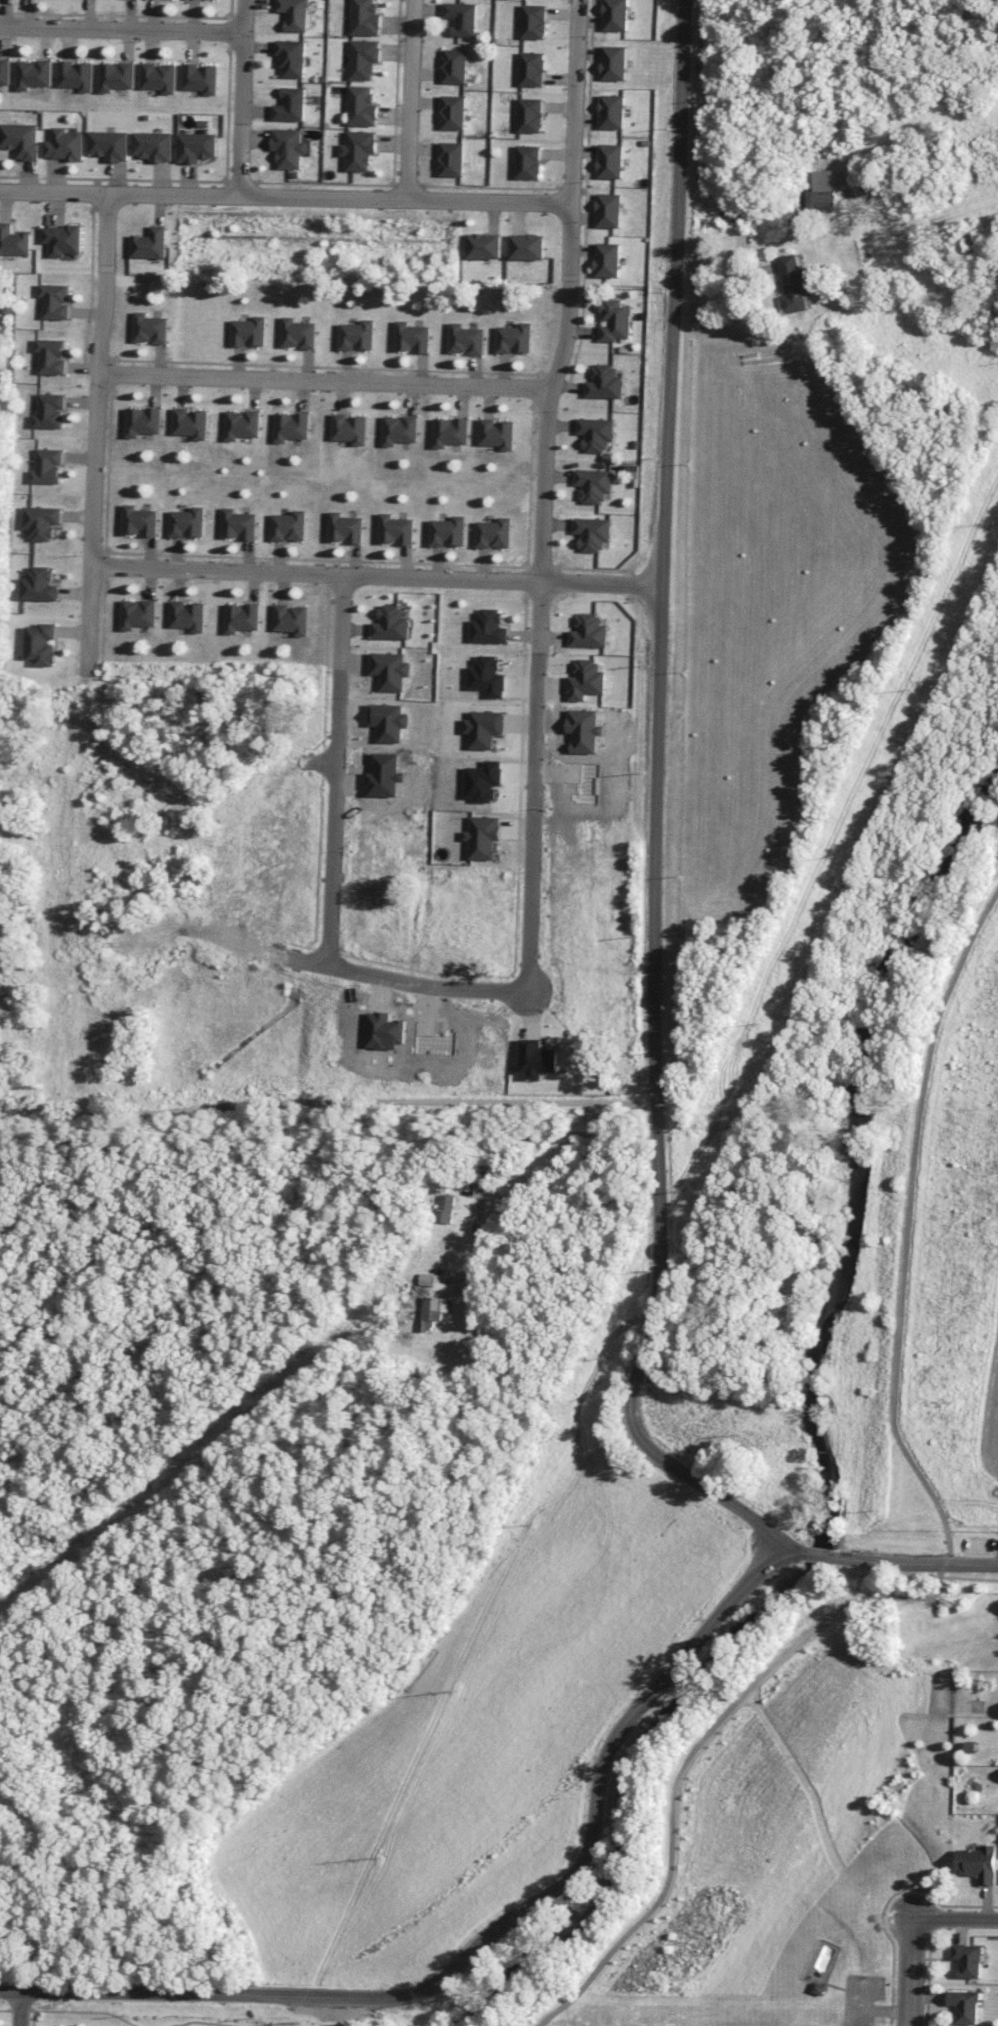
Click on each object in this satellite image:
building: (296, 14)
building: (616, 15)
building: (463, 17)
building: (365, 18)
building: (534, 21)
road: (122, 29)
building: (292, 57)
building: (364, 58)
building: (614, 62)
building: (455, 65)
building: (532, 68)
building: (5, 71)
building: (34, 73)
building: (76, 75)
building: (117, 75)
building: (159, 76)
building: (201, 77)
road: (243, 97)
road: (413, 99)
building: (291, 104)
building: (362, 106)
building: (613, 111)
building: (453, 112)
building: (531, 115)
building: (20, 139)
building: (64, 144)
building: (109, 144)
building: (153, 145)
building: (196, 146)
building: (290, 147)
building: (359, 149)
building: (451, 159)
building: (611, 160)
building: (529, 161)
building: (817, 192)
road: (286, 196)
building: (609, 210)
building: (732, 212)
building: (62, 239)
building: (13, 240)
building: (150, 243)
building: (484, 245)
building: (528, 246)
building: (608, 259)
building: (793, 283)
road: (723, 284)
building: (55, 300)
building: (615, 320)
building: (149, 328)
building: (248, 331)
building: (297, 333)
building: (357, 335)
building: (411, 337)
building: (514, 338)
building: (466, 339)
building: (51, 355)
road: (321, 382)
building: (605, 382)
building: (49, 410)
building: (143, 420)
building: (190, 422)
building: (241, 424)
building: (290, 426)
building: (349, 428)
building: (399, 429)
building: (450, 431)
building: (497, 433)
building: (596, 433)
building: (47, 466)
building: (594, 484)
road: (543, 491)
building: (139, 520)
building: (41, 521)
building: (187, 522)
building: (238, 524)
building: (288, 526)
building: (345, 527)
building: (395, 529)
building: (448, 531)
building: (494, 532)
building: (592, 532)
road: (376, 574)
building: (39, 584)
road: (90, 609)
building: (138, 613)
building: (187, 615)
building: (241, 617)
building: (290, 618)
building: (390, 623)
building: (488, 627)
building: (588, 631)
building: (41, 643)
building: (390, 670)
building: (487, 676)
building: (585, 679)
building: (388, 721)
building: (483, 728)
road: (68, 745)
road: (212, 749)
road: (335, 766)
road: (656, 816)
building: (482, 836)
road: (309, 954)
building: (536, 1058)
road: (326, 1103)
road: (512, 1143)
building: (445, 1208)
park: (940, 1263)
building: (431, 1310)
river: (821, 1454)
road: (948, 1546)
parking lot: (975, 1546)
road: (788, 1553)
road: (817, 1553)
road: (916, 1562)
crop: (474, 1738)
building: (978, 1863)
road: (955, 1919)
road: (481, 1938)
building: (968, 1959)
road: (911, 1966)
building: (964, 2005)
road: (19, 2008)
road: (329, 2010)
road: (907, 2019)
road: (911, 2019)
power tower: (303, 2021)

